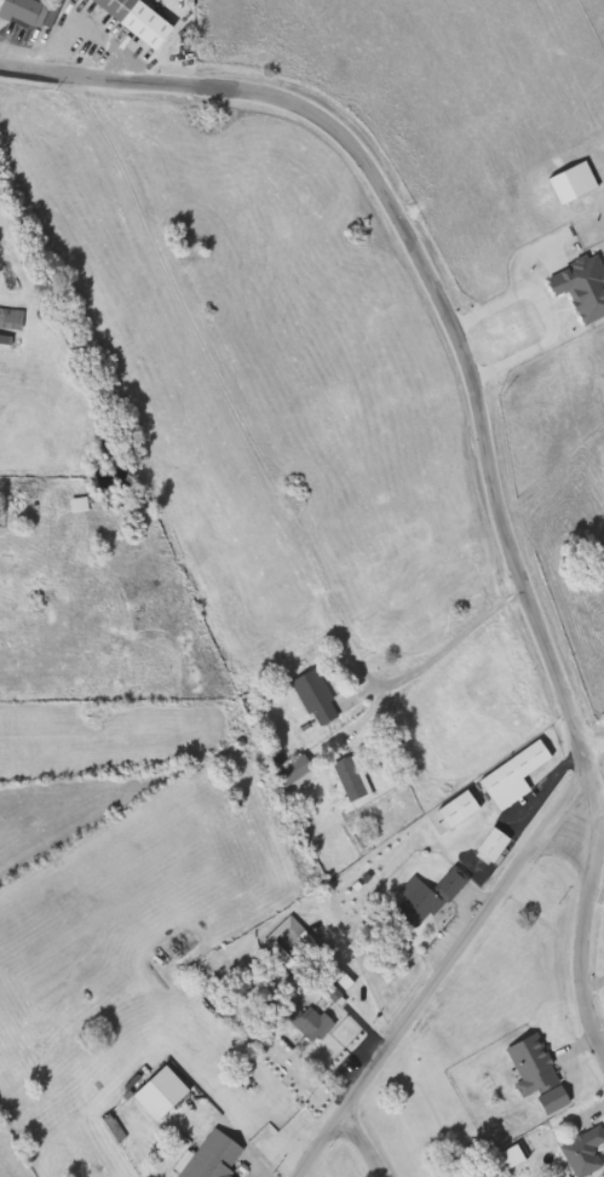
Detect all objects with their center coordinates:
building: (29, 12)
building: (132, 19)
road: (425, 279)
road: (541, 312)
building: (13, 318)
road: (576, 487)
building: (84, 506)
road: (453, 636)
building: (320, 697)
road: (603, 734)
road: (603, 735)
building: (518, 775)
building: (356, 780)
building: (496, 844)
building: (428, 897)
road: (582, 917)
building: (323, 947)
building: (320, 954)
road: (448, 957)
building: (317, 1016)
building: (535, 1066)
building: (27, 1090)
building: (166, 1095)
building: (557, 1101)
road: (356, 1144)
building: (587, 1153)
building: (218, 1156)

